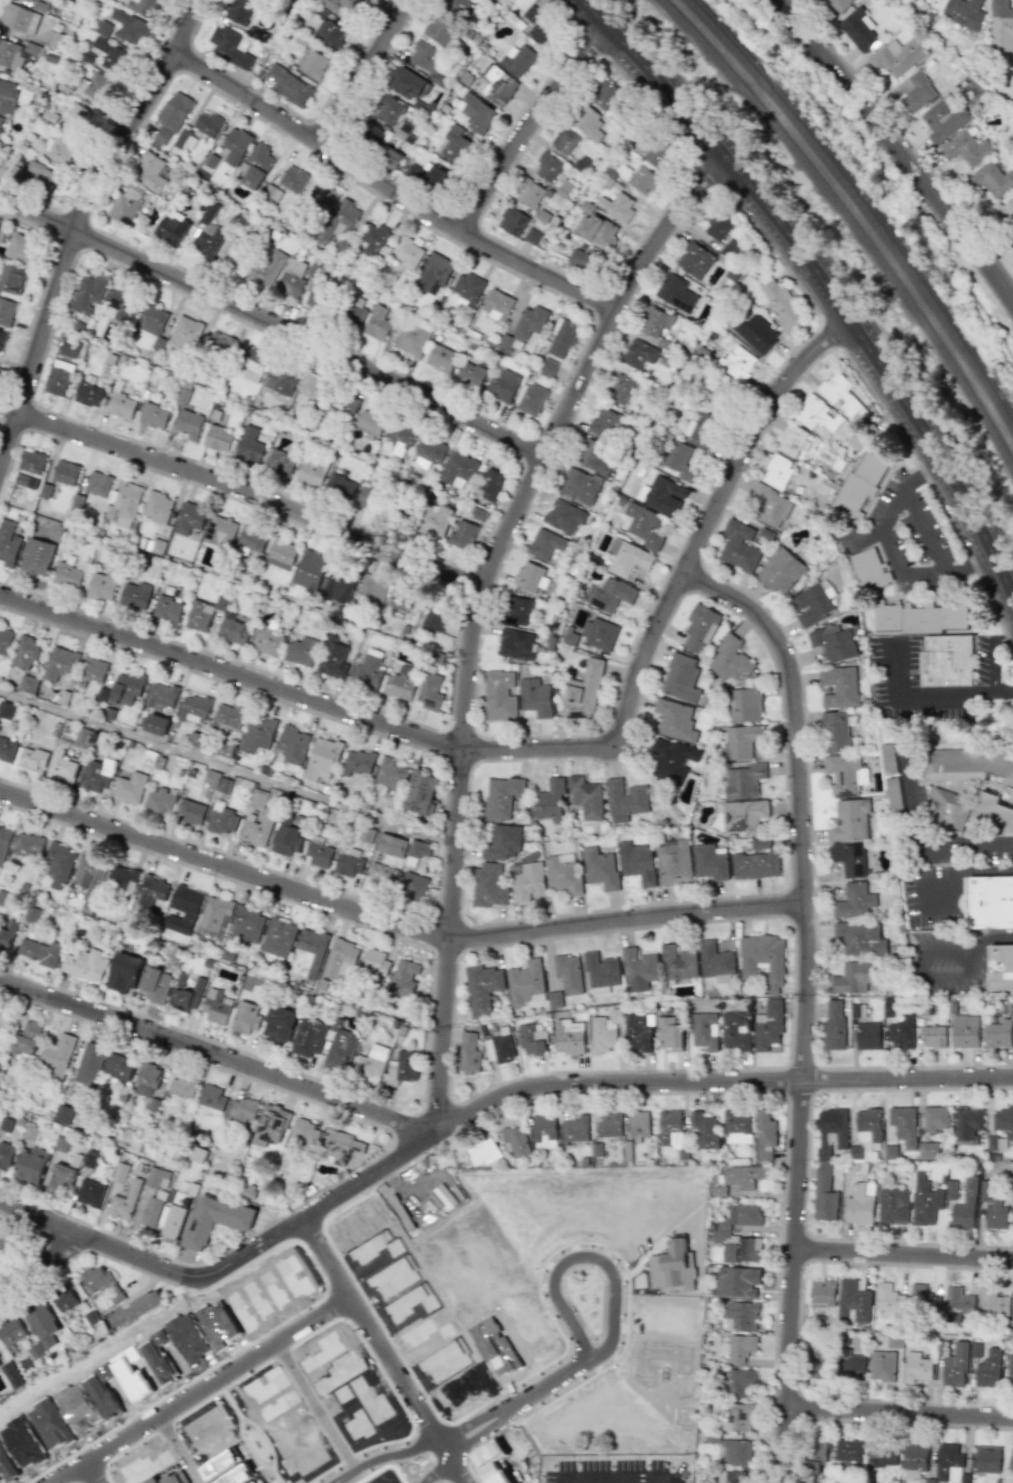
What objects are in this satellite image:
building: (29, 0)
building: (838, 4)
building: (457, 5)
building: (340, 6)
building: (145, 7)
building: (242, 11)
building: (963, 12)
building: (1000, 15)
building: (19, 18)
building: (539, 25)
building: (130, 27)
building: (858, 28)
building: (439, 29)
building: (328, 34)
building: (229, 46)
building: (15, 54)
building: (112, 56)
building: (427, 56)
building: (897, 56)
building: (517, 60)
building: (313, 65)
road: (363, 71)
building: (407, 83)
building: (289, 86)
building: (500, 86)
building: (96, 87)
building: (916, 92)
building: (605, 95)
building: (7, 97)
building: (388, 110)
building: (476, 113)
building: (171, 117)
building: (76, 118)
building: (943, 118)
building: (0, 119)
building: (208, 124)
building: (588, 124)
road: (528, 127)
building: (402, 131)
building: (371, 135)
building: (181, 139)
building: (565, 140)
building: (236, 145)
building: (455, 145)
building: (59, 148)
building: (965, 148)
road: (897, 149)
building: (658, 156)
building: (390, 158)
building: (257, 166)
building: (548, 166)
building: (149, 172)
building: (42, 174)
building: (430, 176)
building: (293, 179)
building: (991, 179)
building: (643, 180)
railway: (873, 183)
road: (388, 189)
building: (530, 194)
building: (324, 196)
building: (127, 204)
railway: (862, 205)
building: (617, 206)
building: (1004, 212)
building: (339, 221)
building: (513, 221)
railway: (854, 221)
road: (82, 222)
building: (717, 225)
building: (170, 231)
building: (605, 234)
building: (533, 236)
building: (375, 241)
building: (211, 242)
building: (20, 248)
building: (407, 252)
building: (234, 253)
building: (585, 260)
building: (695, 260)
building: (438, 268)
building: (265, 270)
building: (292, 278)
building: (12, 279)
road: (825, 283)
building: (467, 287)
building: (676, 293)
building: (88, 296)
building: (318, 298)
building: (121, 304)
building: (782, 304)
building: (497, 305)
building: (6, 311)
building: (356, 314)
building: (152, 319)
building: (654, 322)
building: (377, 323)
road: (273, 325)
building: (529, 325)
building: (185, 332)
building: (412, 338)
building: (760, 338)
building: (2, 339)
building: (562, 339)
building: (220, 344)
building: (69, 348)
building: (638, 354)
building: (441, 358)
road: (587, 362)
building: (736, 364)
building: (253, 366)
building: (548, 367)
building: (470, 374)
building: (58, 378)
building: (281, 380)
building: (503, 386)
building: (311, 389)
building: (619, 389)
building: (89, 392)
building: (720, 393)
building: (842, 398)
building: (530, 399)
building: (121, 406)
building: (342, 408)
building: (817, 415)
building: (153, 416)
building: (370, 422)
building: (603, 423)
building: (189, 424)
building: (701, 428)
building: (400, 437)
building: (218, 438)
building: (793, 441)
building: (249, 446)
building: (429, 451)
building: (594, 458)
building: (679, 461)
building: (32, 462)
building: (281, 462)
building: (312, 470)
building: (457, 470)
building: (66, 472)
building: (777, 472)
building: (26, 480)
building: (98, 484)
building: (490, 485)
building: (860, 485)
building: (579, 486)
building: (340, 487)
road: (251, 493)
building: (662, 495)
building: (368, 497)
building: (769, 506)
building: (158, 507)
building: (563, 516)
building: (188, 518)
road: (709, 518)
building: (436, 520)
building: (643, 525)
road: (928, 530)
building: (221, 531)
building: (464, 535)
building: (252, 538)
building: (9, 543)
building: (549, 546)
building: (739, 546)
building: (155, 547)
building: (281, 554)
road: (889, 554)
building: (38, 557)
building: (628, 558)
building: (310, 570)
building: (869, 570)
building: (780, 571)
building: (68, 572)
building: (531, 577)
building: (103, 585)
building: (339, 585)
building: (371, 590)
building: (609, 594)
building: (136, 595)
building: (403, 600)
building: (812, 603)
building: (168, 608)
building: (518, 611)
building: (199, 616)
building: (918, 617)
building: (435, 618)
building: (700, 629)
building: (234, 632)
building: (600, 634)
building: (6, 640)
building: (267, 642)
building: (833, 642)
building: (517, 644)
building: (302, 651)
building: (27, 652)
building: (333, 658)
building: (731, 660)
building: (945, 661)
building: (61, 663)
road: (467, 666)
building: (95, 670)
building: (369, 670)
road: (229, 671)
parking lot: (892, 671)
building: (682, 678)
building: (29, 684)
building: (400, 684)
building: (127, 687)
building: (840, 687)
building: (429, 692)
building: (584, 692)
road: (960, 694)
building: (161, 696)
building: (499, 696)
building: (536, 697)
building: (745, 705)
building: (194, 708)
building: (7, 710)
building: (227, 718)
building: (676, 720)
building: (156, 724)
building: (836, 732)
building: (258, 734)
building: (84, 738)
building: (742, 741)
building: (292, 744)
building: (8, 749)
road: (538, 749)
building: (34, 759)
building: (322, 759)
building: (888, 759)
building: (357, 762)
building: (667, 763)
road: (226, 766)
building: (971, 767)
building: (391, 774)
building: (845, 774)
building: (98, 775)
building: (744, 780)
building: (217, 781)
building: (131, 788)
building: (421, 792)
building: (502, 797)
building: (587, 797)
building: (258, 799)
building: (626, 800)
building: (159, 801)
building: (549, 801)
building: (948, 810)
building: (992, 810)
building: (192, 812)
building: (744, 816)
building: (849, 820)
building: (223, 821)
building: (258, 826)
building: (366, 834)
building: (286, 836)
building: (4, 842)
building: (503, 842)
building: (760, 843)
building: (391, 845)
building: (28, 846)
road: (922, 849)
building: (416, 851)
building: (318, 852)
building: (849, 859)
building: (674, 861)
building: (638, 862)
building: (710, 862)
building: (60, 864)
building: (349, 864)
building: (755, 865)
building: (600, 868)
road: (981, 871)
building: (563, 873)
building: (381, 874)
building: (91, 876)
building: (123, 879)
building: (528, 883)
building: (488, 886)
building: (413, 887)
building: (153, 890)
parking lot: (931, 895)
building: (854, 901)
building: (990, 902)
building: (183, 910)
road: (394, 921)
building: (248, 925)
building: (8, 934)
building: (279, 937)
building: (859, 938)
road: (993, 938)
building: (313, 950)
building: (40, 952)
building: (341, 960)
building: (763, 960)
building: (375, 962)
building: (716, 962)
parking lot: (948, 962)
building: (679, 963)
building: (86, 965)
building: (1001, 968)
building: (640, 969)
road: (930, 969)
building: (601, 970)
building: (124, 972)
building: (569, 974)
building: (405, 977)
building: (854, 977)
building: (526, 983)
building: (155, 985)
building: (482, 988)
building: (186, 997)
building: (554, 999)
road: (803, 1001)
building: (216, 1006)
building: (857, 1010)
building: (245, 1018)
building: (3, 1024)
building: (279, 1025)
building: (768, 1026)
building: (834, 1026)
building: (639, 1031)
building: (705, 1031)
building: (735, 1031)
building: (965, 1031)
building: (669, 1033)
building: (998, 1034)
building: (602, 1035)
building: (901, 1035)
building: (868, 1036)
building: (568, 1037)
building: (934, 1037)
building: (308, 1038)
building: (26, 1039)
building: (532, 1040)
building: (341, 1047)
building: (500, 1047)
building: (469, 1053)
building: (56, 1057)
building: (89, 1064)
building: (371, 1064)
building: (119, 1066)
building: (403, 1067)
building: (147, 1079)
road: (438, 1080)
building: (183, 1086)
building: (212, 1098)
road: (489, 1100)
building: (242, 1110)
building: (63, 1114)
building: (937, 1118)
building: (1003, 1121)
building: (904, 1124)
building: (270, 1125)
building: (968, 1125)
building: (638, 1126)
building: (737, 1126)
building: (575, 1129)
building: (705, 1130)
building: (544, 1131)
building: (673, 1131)
building: (831, 1131)
building: (30, 1132)
building: (304, 1132)
building: (607, 1133)
building: (764, 1135)
building: (866, 1135)
building: (515, 1142)
building: (61, 1144)
building: (343, 1147)
building: (927, 1150)
building: (482, 1152)
building: (6, 1155)
building: (90, 1160)
building: (31, 1166)
building: (860, 1167)
building: (120, 1173)
building: (743, 1176)
building: (61, 1178)
building: (157, 1178)
building: (950, 1190)
building: (90, 1193)
building: (825, 1195)
building: (125, 1201)
building: (925, 1201)
building: (860, 1203)
building: (893, 1206)
building: (965, 1206)
building: (993, 1206)
building: (151, 1211)
building: (176, 1215)
road: (39, 1219)
building: (215, 1220)
building: (737, 1220)
building: (1012, 1227)
building: (5, 1239)
building: (743, 1251)
road: (901, 1254)
road: (136, 1258)
road: (39, 1260)
building: (100, 1281)
building: (738, 1282)
building: (822, 1294)
building: (923, 1298)
building: (65, 1300)
building: (890, 1301)
building: (854, 1302)
building: (993, 1303)
building: (957, 1304)
building: (143, 1305)
building: (741, 1315)
road: (610, 1324)
building: (42, 1325)
building: (11, 1331)
building: (894, 1341)
building: (740, 1348)
building: (975, 1350)
road: (380, 1352)
building: (818, 1362)
building: (0, 1364)
building: (851, 1365)
building: (882, 1366)
building: (955, 1366)
building: (917, 1367)
building: (988, 1369)
building: (1009, 1371)
building: (11, 1375)
building: (740, 1382)
road: (199, 1391)
road: (314, 1408)
road: (898, 1412)
building: (738, 1418)
road: (176, 1450)
building: (849, 1450)
building: (736, 1452)
building: (882, 1455)
building: (815, 1458)
road: (384, 1459)
building: (915, 1459)
building: (987, 1459)
building: (1011, 1461)
building: (949, 1464)
road: (436, 1471)
road: (90, 1473)
building: (733, 1476)

